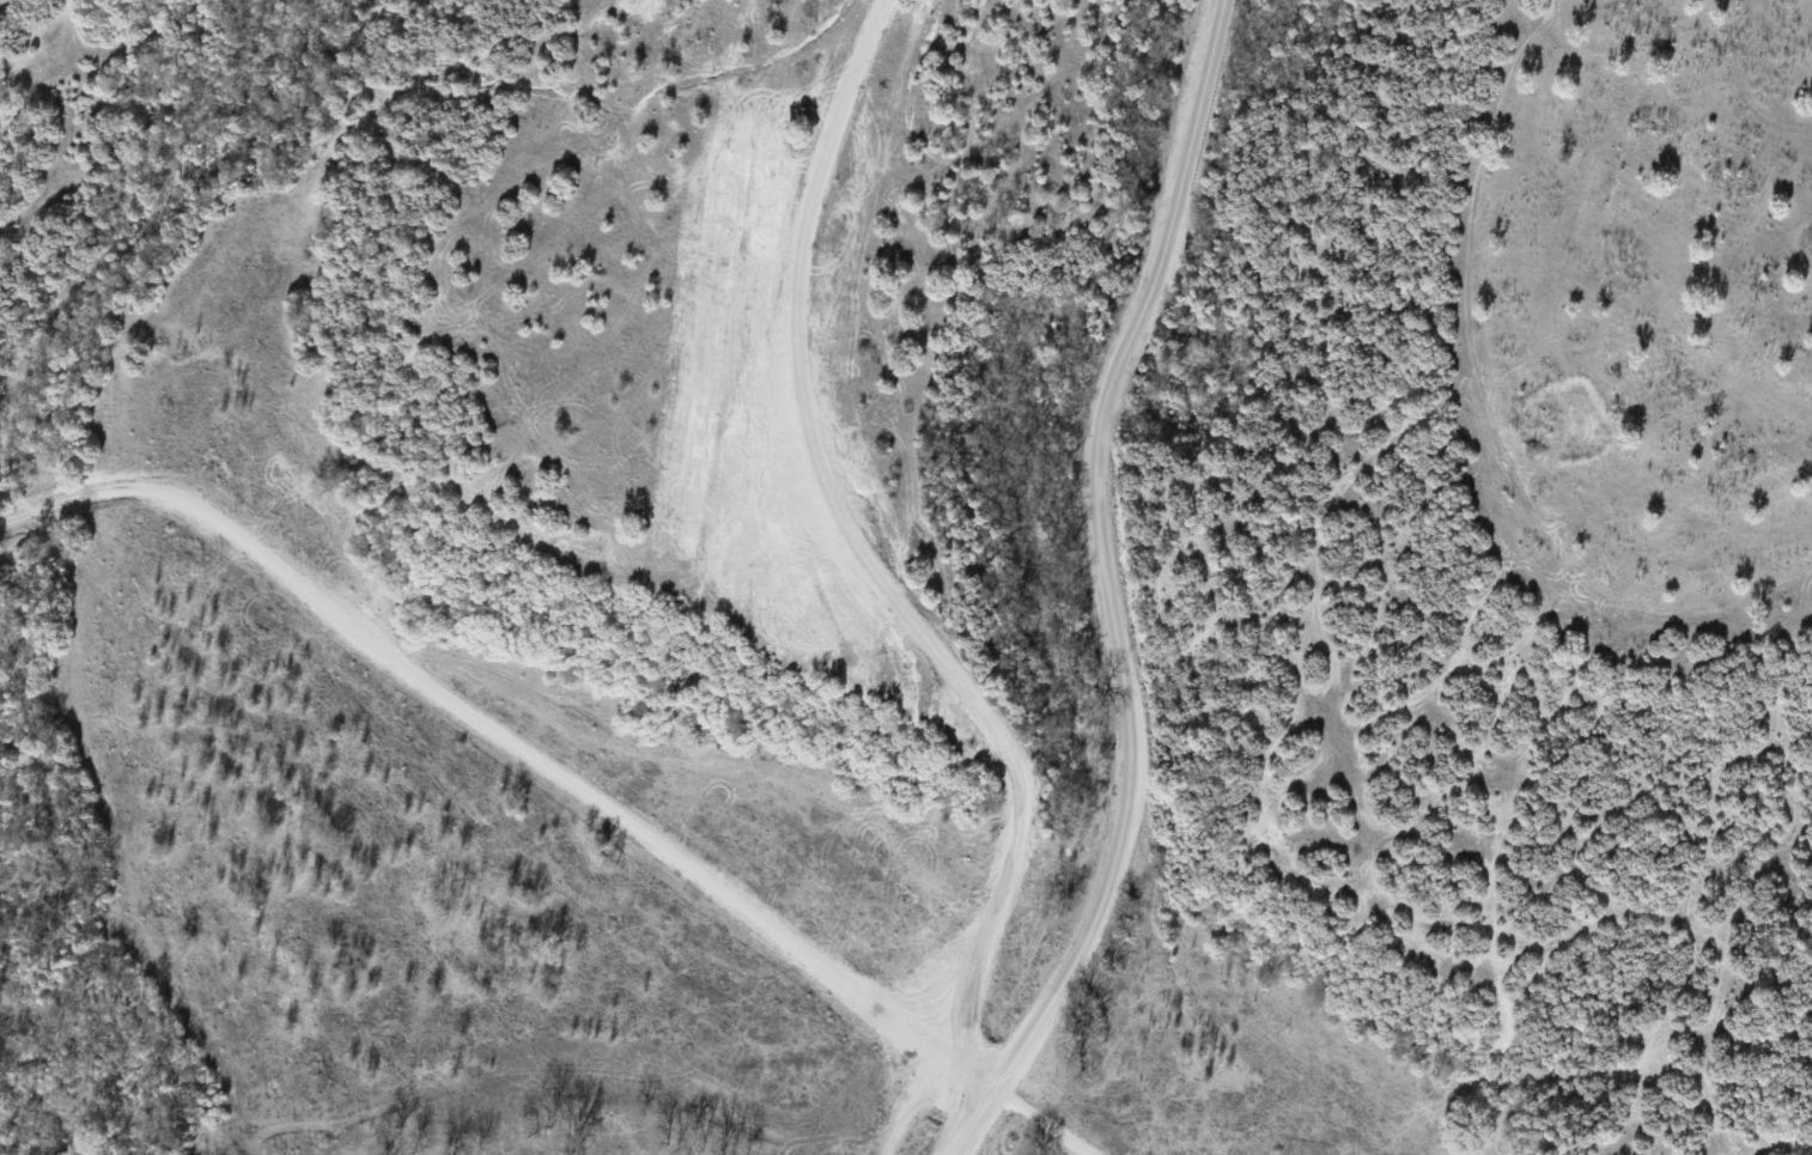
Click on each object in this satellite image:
road: (877, 571)
road: (1108, 591)
road: (478, 723)
road: (912, 1102)
road: (1042, 1120)

